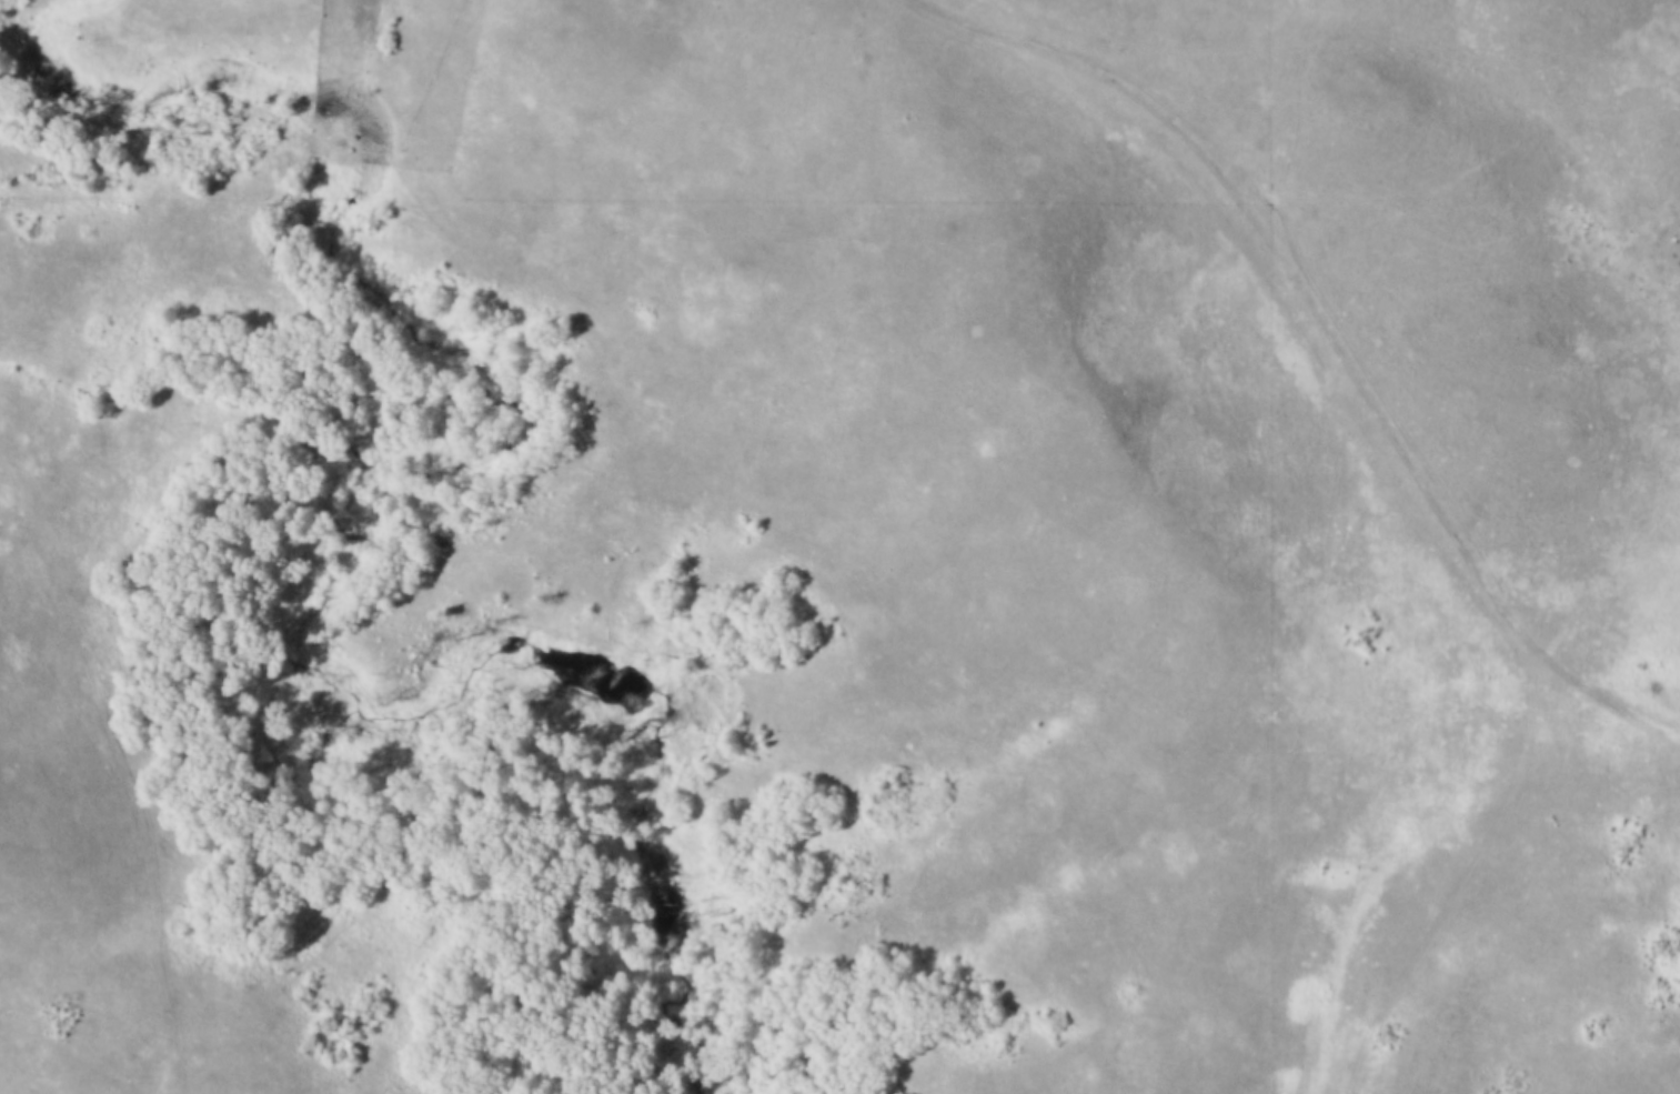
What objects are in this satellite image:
road: (1392, 476)
road: (1602, 706)
road: (123, 766)

